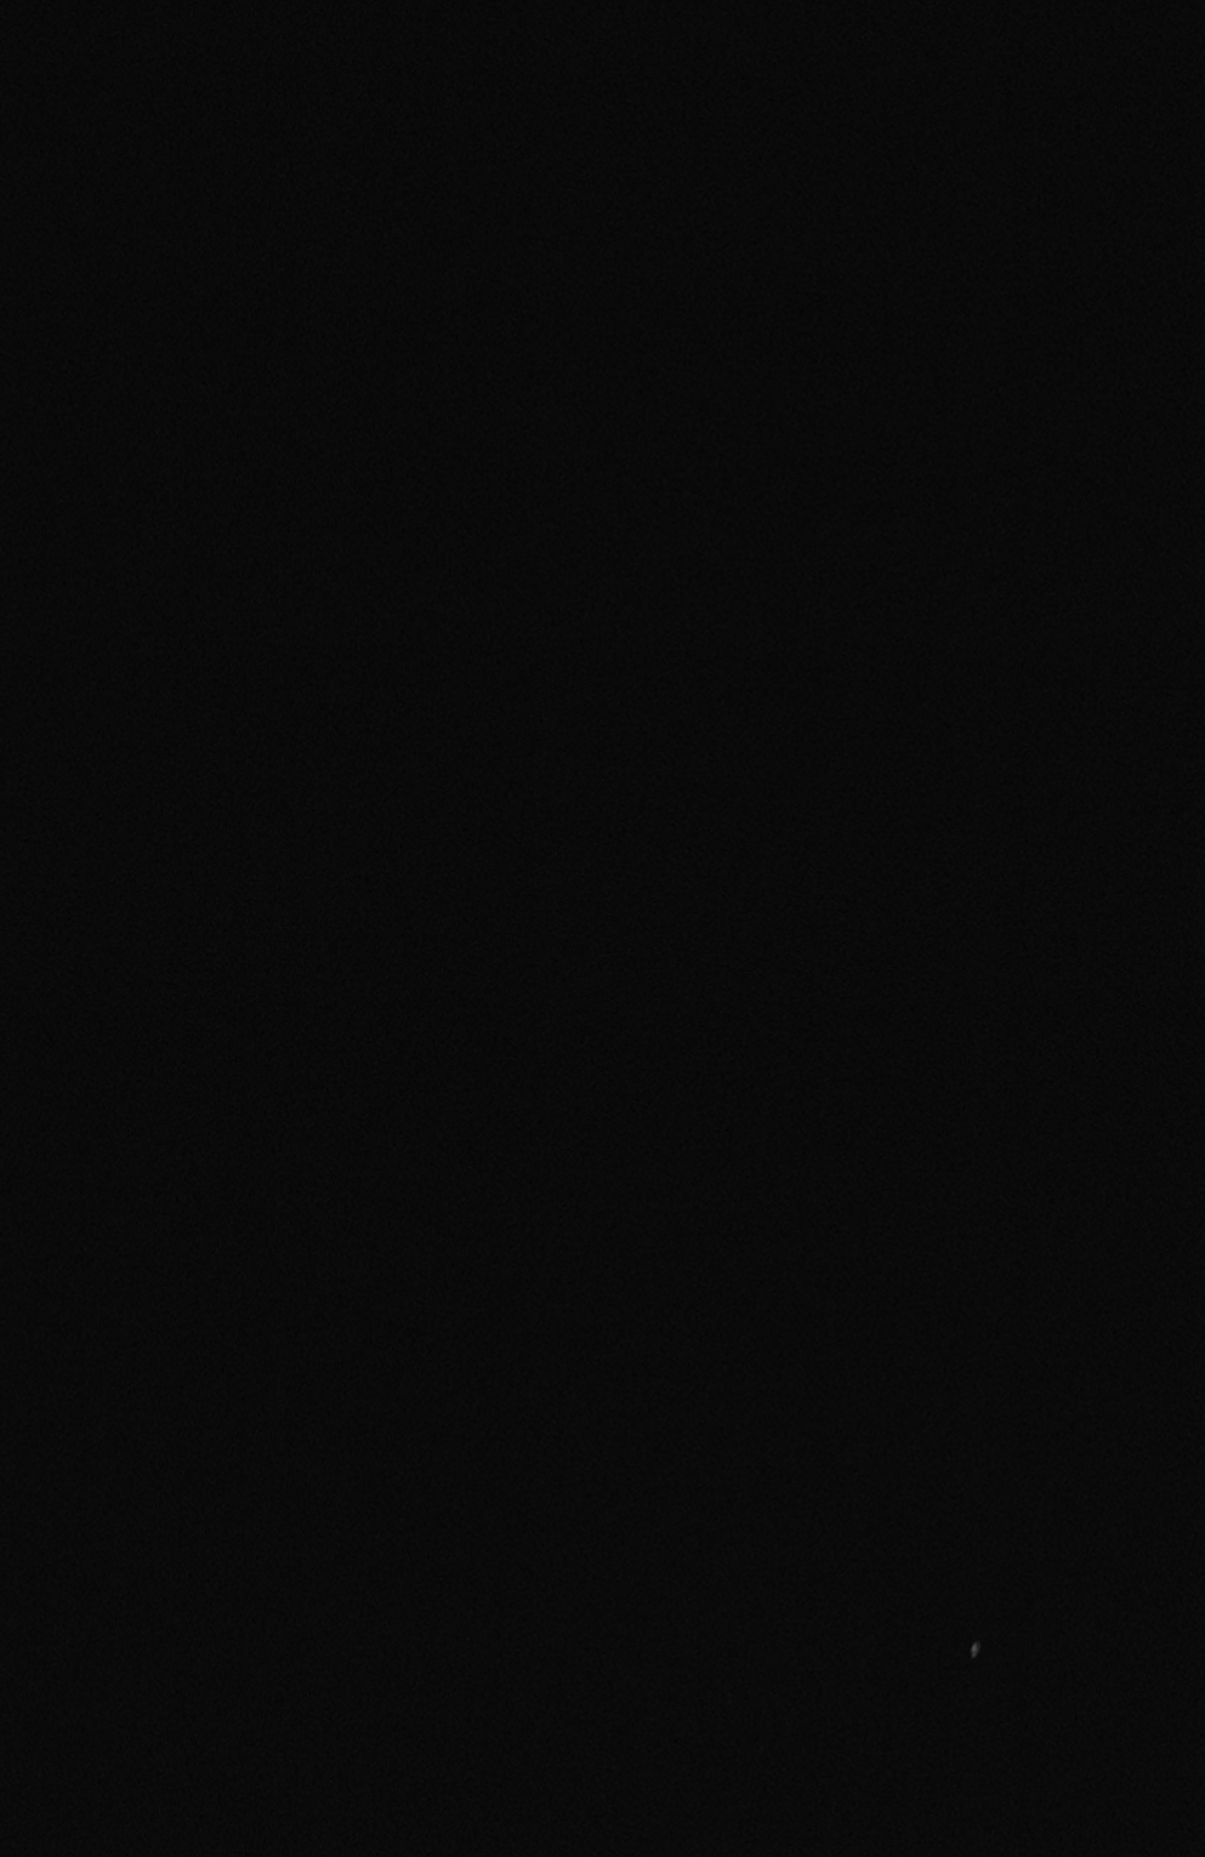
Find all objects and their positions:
river: (823, 300)
river: (812, 1206)

